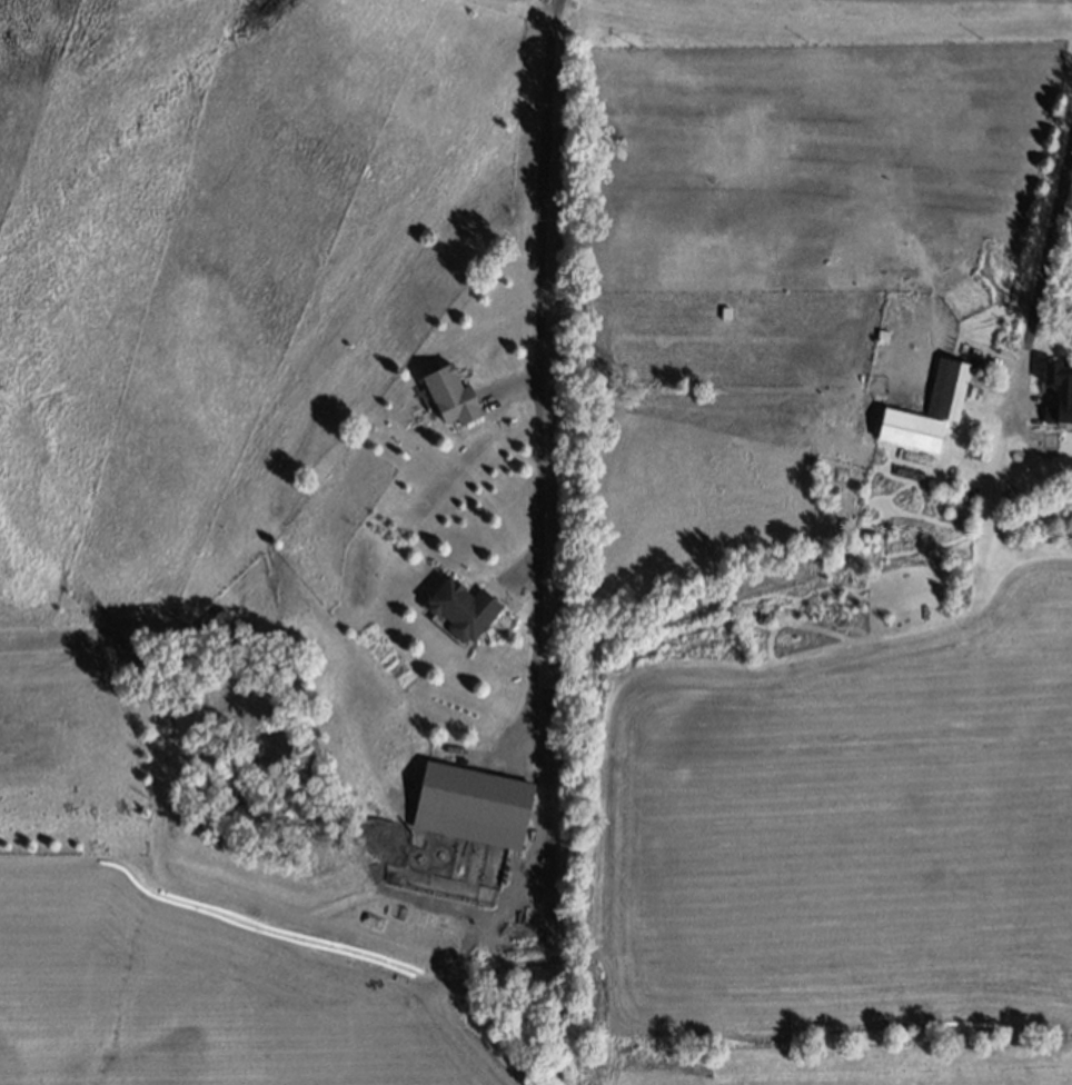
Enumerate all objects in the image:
road: (1052, 237)
building: (884, 336)
road: (534, 348)
building: (1059, 390)
building: (972, 391)
building: (451, 397)
building: (930, 410)
building: (1051, 438)
building: (982, 451)
building: (943, 486)
building: (972, 491)
building: (845, 524)
building: (464, 608)
building: (473, 806)

